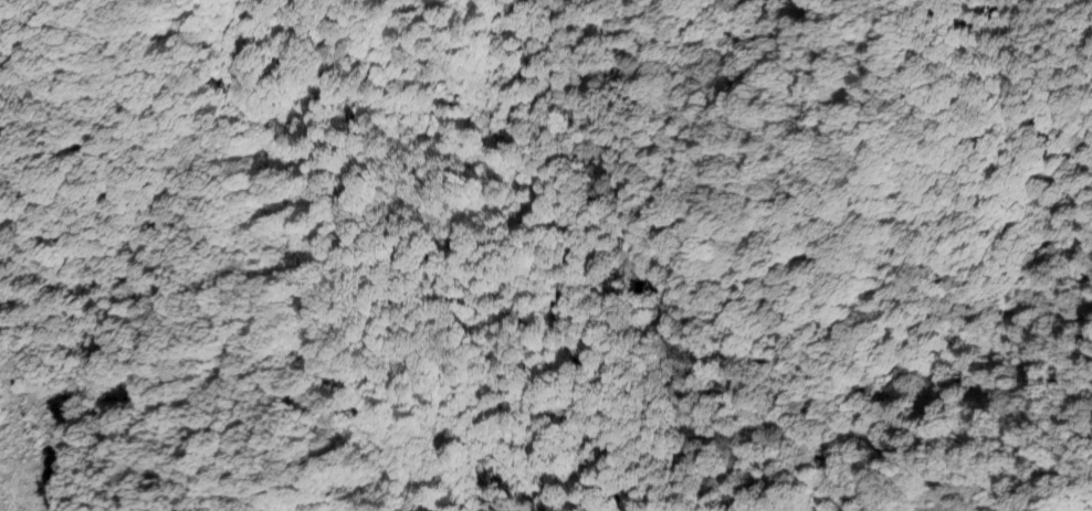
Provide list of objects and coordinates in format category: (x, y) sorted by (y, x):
building: (818, 478)

